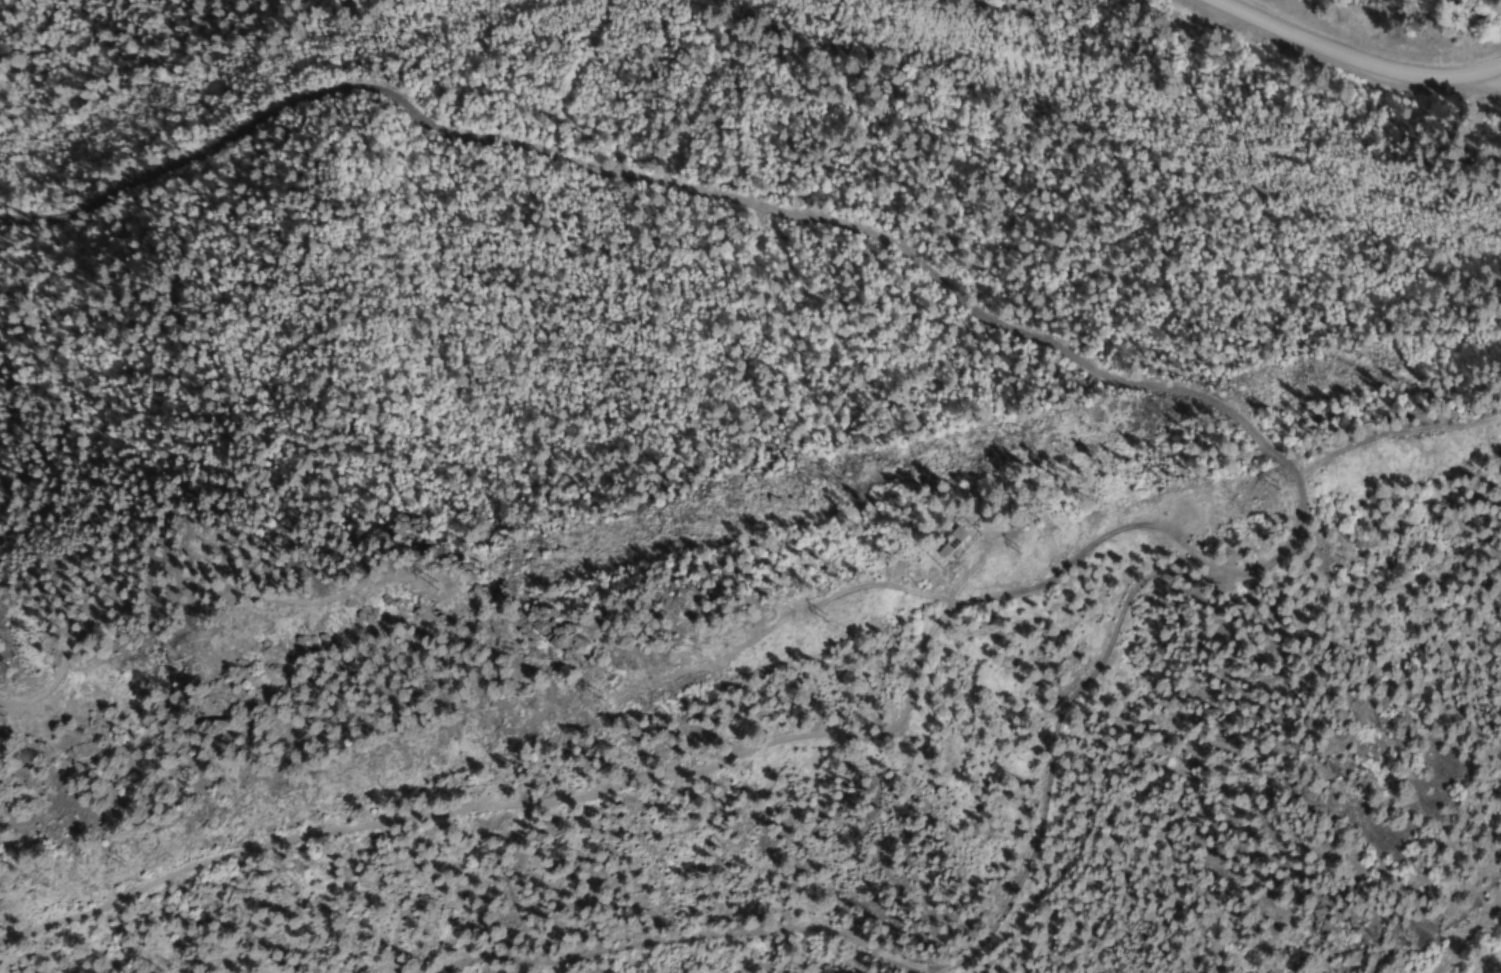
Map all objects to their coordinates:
road: (1360, 57)
power tower: (1269, 485)
building: (946, 542)
power tower: (1013, 549)
power tower: (822, 617)
power tower: (600, 694)
power tower: (117, 863)
road: (1485, 961)

